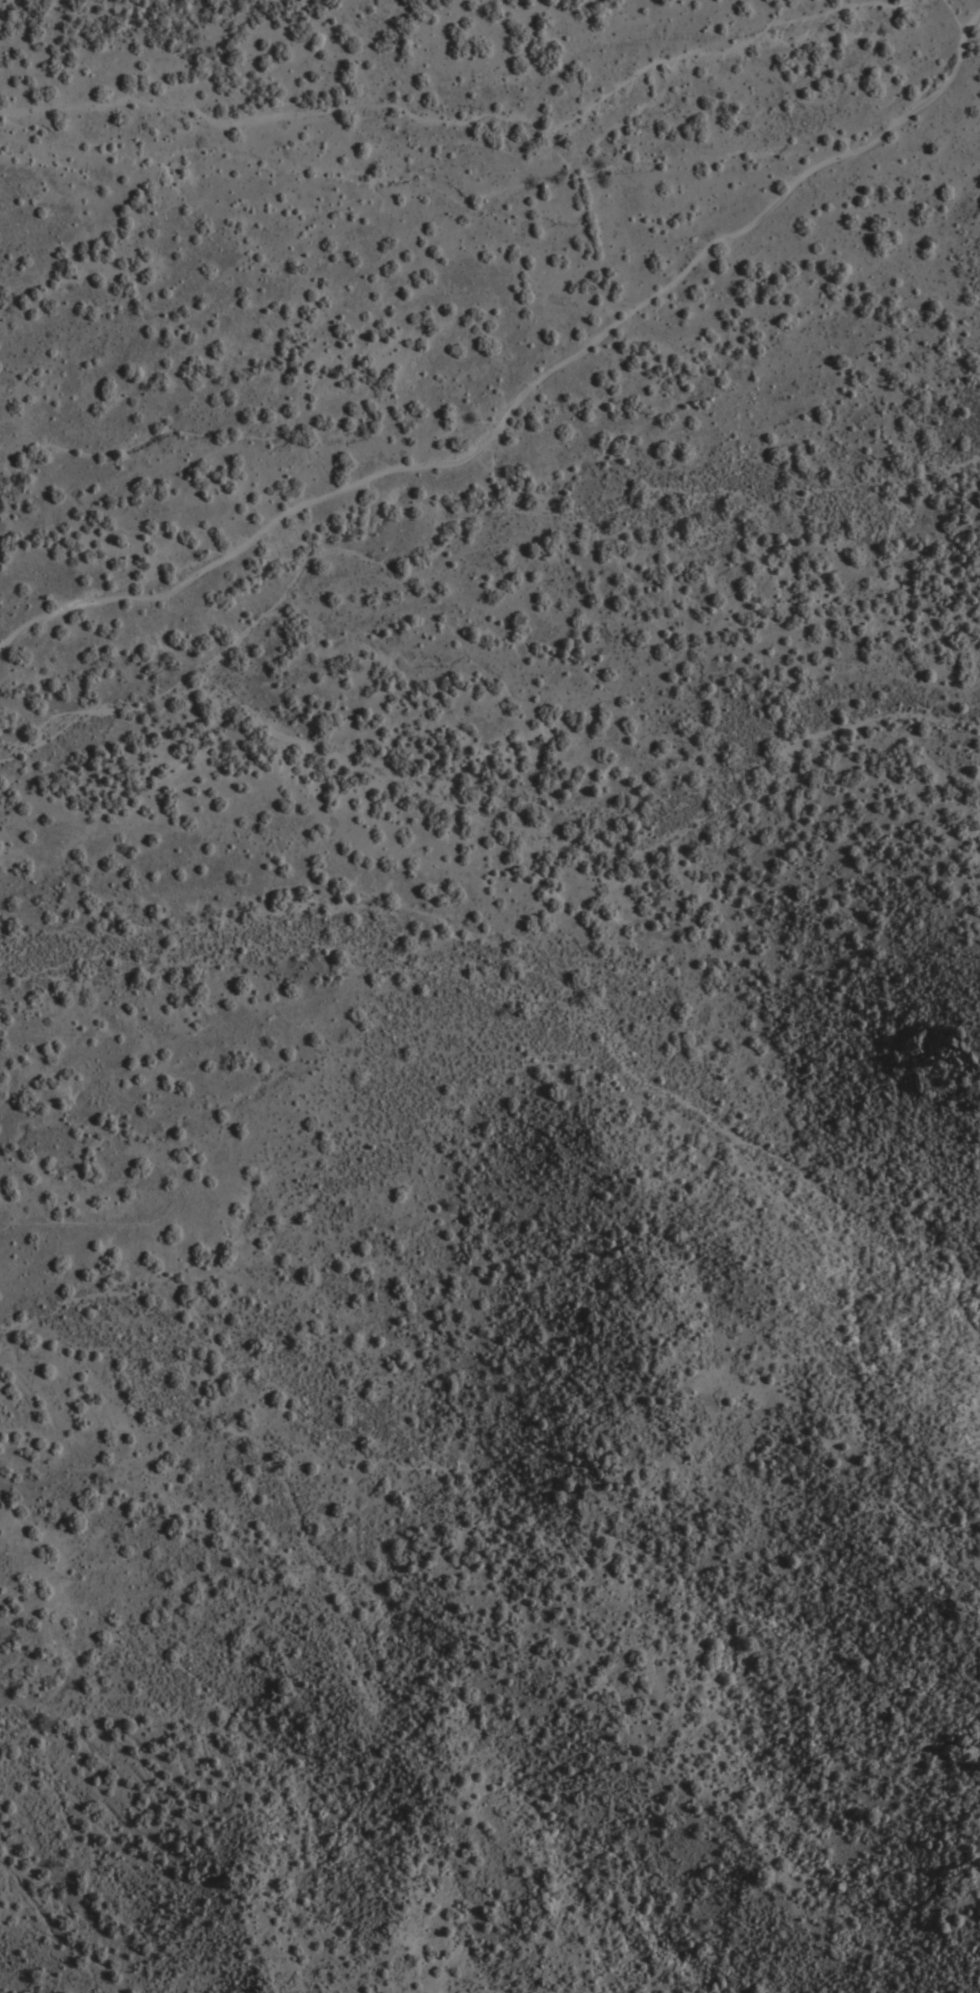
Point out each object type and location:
road: (469, 120)
road: (527, 393)
park: (329, 395)

